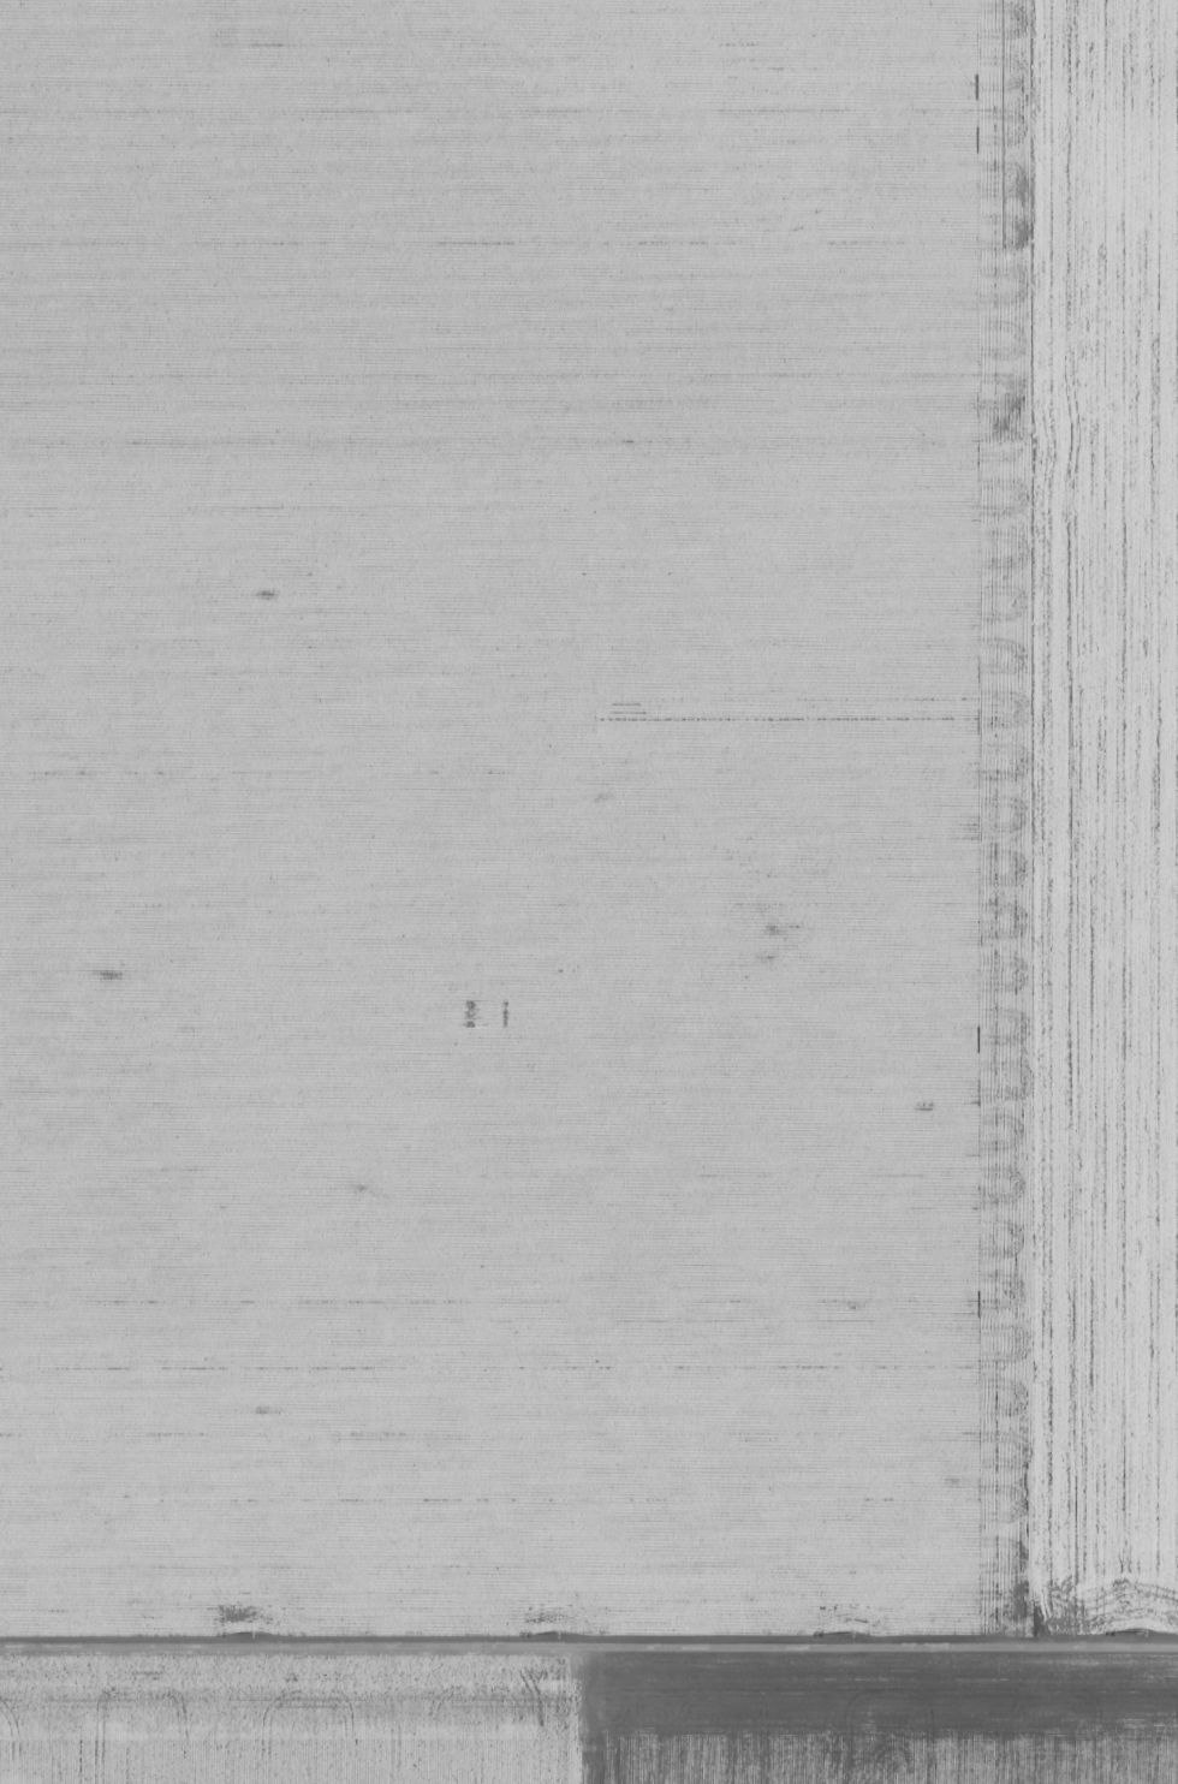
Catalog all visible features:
power tower: (554, 1630)
power tower: (850, 1630)
power tower: (249, 1633)
power tower: (1140, 1633)
road: (589, 1647)

